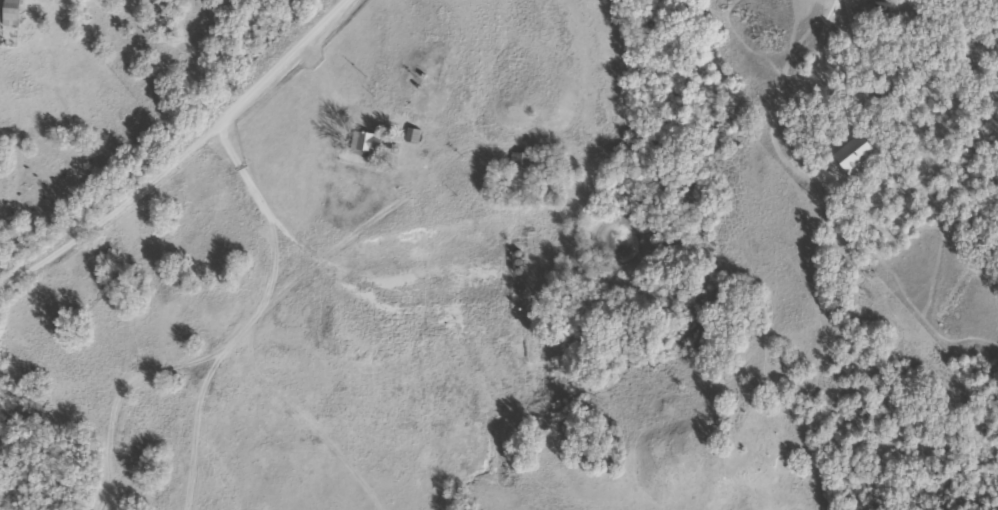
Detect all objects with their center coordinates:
building: (8, 13)
road: (170, 134)
building: (362, 143)
building: (847, 158)
building: (518, 163)

